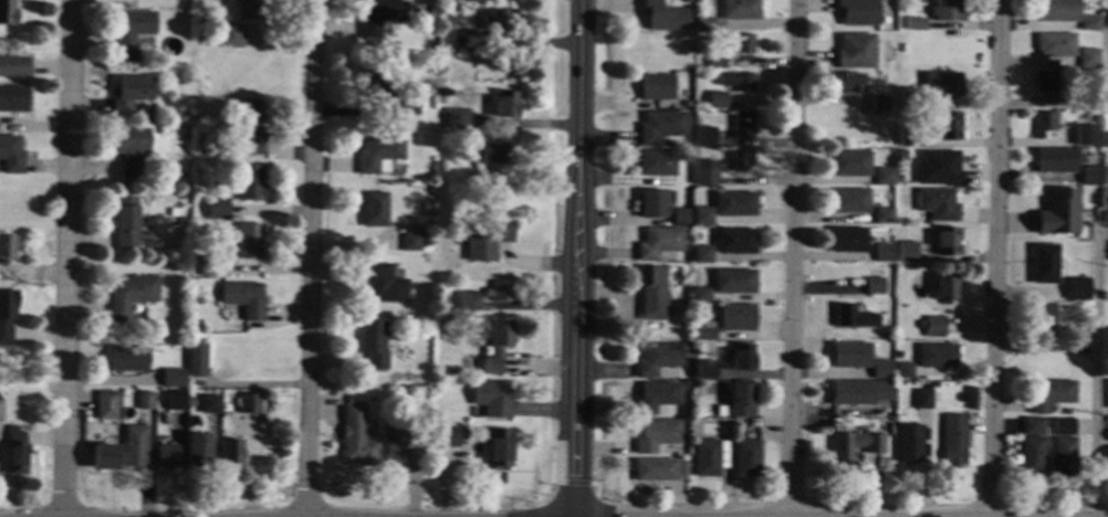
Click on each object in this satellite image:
building: (469, 1)
building: (454, 8)
building: (252, 10)
building: (422, 10)
building: (741, 10)
building: (948, 11)
building: (1057, 11)
building: (858, 12)
building: (8, 13)
building: (665, 17)
building: (383, 18)
building: (500, 20)
building: (1106, 20)
building: (1090, 23)
building: (917, 24)
building: (707, 25)
building: (133, 32)
building: (233, 36)
building: (461, 36)
building: (744, 44)
building: (1056, 45)
building: (855, 52)
building: (1089, 59)
building: (718, 63)
building: (13, 65)
building: (738, 82)
building: (1046, 82)
building: (941, 84)
building: (850, 85)
building: (658, 87)
building: (393, 91)
building: (450, 93)
building: (129, 94)
building: (908, 98)
building: (1105, 98)
building: (14, 99)
building: (719, 101)
building: (1073, 101)
building: (879, 104)
building: (687, 105)
building: (508, 106)
building: (1090, 115)
building: (184, 118)
building: (197, 118)
building: (458, 119)
building: (743, 126)
building: (948, 126)
building: (1045, 126)
building: (661, 127)
building: (249, 128)
building: (1085, 134)
building: (908, 136)
building: (705, 138)
building: (1105, 139)
building: (129, 149)
building: (379, 154)
building: (489, 154)
building: (901, 155)
building: (10, 156)
building: (686, 157)
building: (1052, 160)
building: (741, 161)
building: (657, 163)
building: (850, 163)
building: (939, 169)
building: (707, 172)
building: (1089, 176)
building: (885, 177)
building: (1104, 177)
building: (250, 183)
building: (850, 201)
building: (734, 204)
building: (938, 204)
building: (654, 205)
building: (218, 210)
building: (375, 211)
building: (174, 212)
building: (1058, 212)
building: (702, 217)
building: (884, 217)
building: (1104, 217)
building: (681, 218)
building: (125, 223)
building: (848, 241)
building: (249, 242)
building: (411, 242)
building: (427, 242)
building: (485, 242)
building: (736, 242)
building: (947, 242)
building: (660, 243)
building: (7, 249)
building: (884, 253)
building: (908, 253)
building: (701, 255)
road: (64, 258)
road: (312, 258)
road: (579, 258)
road: (792, 258)
road: (996, 258)
building: (1044, 264)
building: (208, 266)
building: (734, 283)
building: (383, 284)
building: (875, 286)
building: (947, 288)
building: (1078, 289)
building: (501, 292)
building: (654, 293)
building: (130, 295)
building: (701, 295)
building: (244, 299)
building: (470, 302)
building: (1041, 315)
building: (7, 316)
building: (441, 317)
building: (853, 317)
building: (736, 318)
building: (920, 325)
building: (934, 327)
building: (704, 333)
building: (887, 336)
building: (499, 345)
building: (374, 346)
road: (1045, 349)
building: (849, 356)
building: (937, 357)
building: (742, 358)
building: (659, 359)
building: (128, 360)
building: (197, 360)
building: (705, 370)
building: (880, 370)
building: (903, 371)
building: (174, 379)
road: (1094, 380)
building: (686, 386)
building: (858, 392)
building: (1052, 395)
building: (657, 397)
building: (492, 399)
building: (922, 400)
building: (175, 401)
building: (740, 401)
building: (145, 402)
building: (275, 402)
building: (208, 404)
building: (250, 404)
building: (106, 405)
building: (1, 412)
building: (755, 424)
building: (1033, 426)
building: (1063, 428)
building: (657, 435)
building: (447, 436)
building: (357, 437)
building: (953, 441)
building: (909, 444)
building: (403, 445)
building: (855, 445)
building: (135, 446)
building: (499, 449)
building: (17, 452)
building: (198, 453)
building: (691, 453)
building: (167, 456)
building: (230, 456)
building: (1032, 456)
building: (105, 457)
building: (710, 457)
building: (1064, 458)
building: (746, 460)
building: (1107, 460)
building: (660, 471)
road: (1050, 516)

